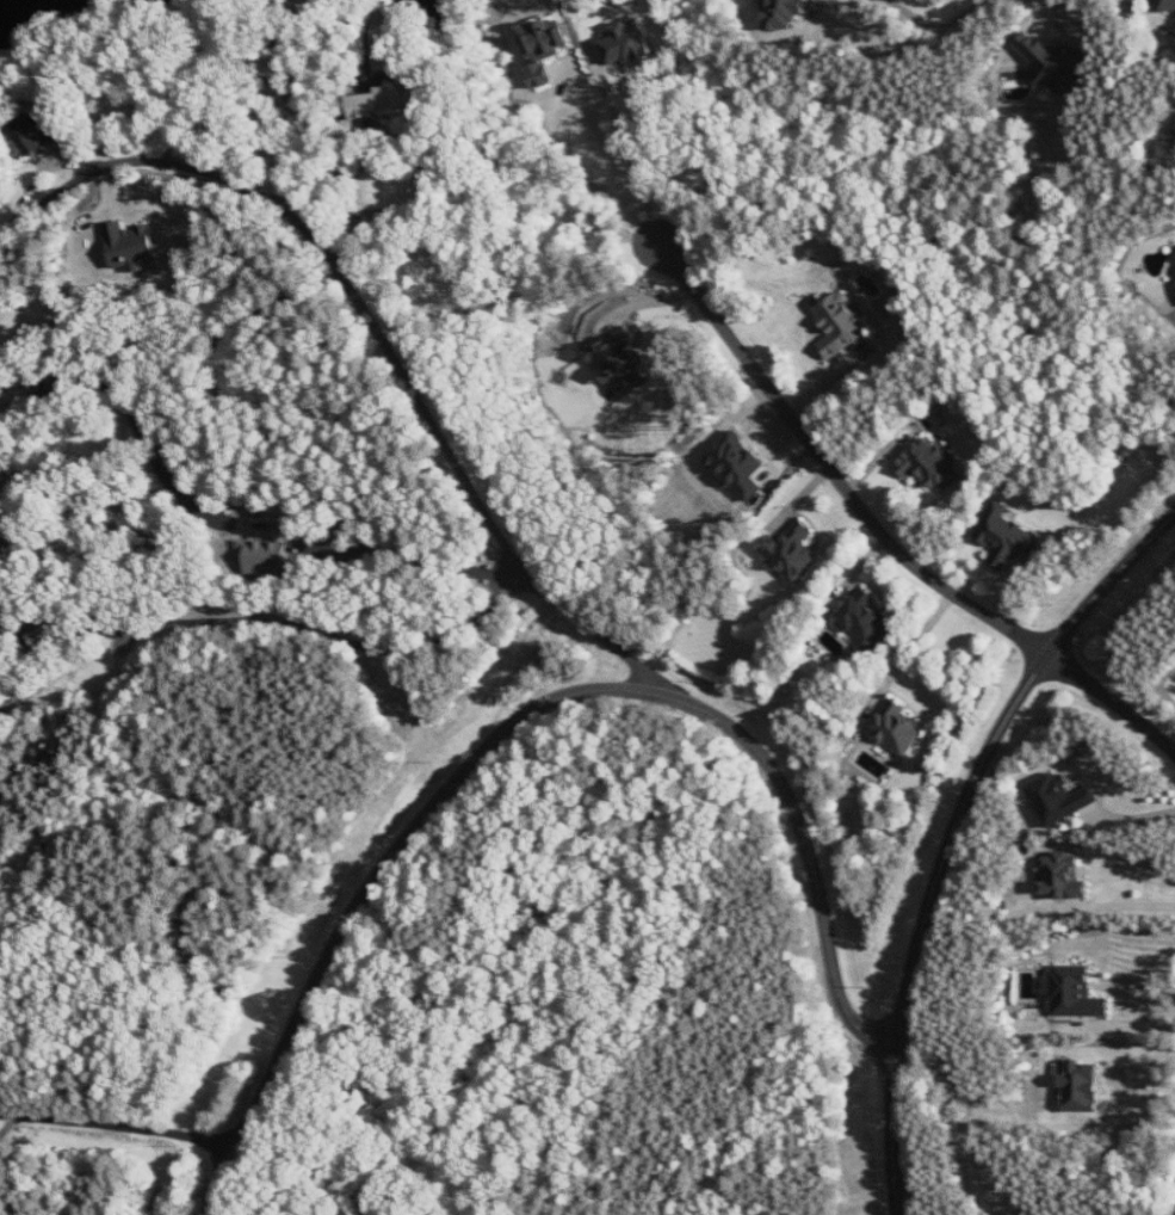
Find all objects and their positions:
building: (1168, 5)
building: (785, 14)
road: (939, 27)
building: (627, 44)
building: (1056, 61)
building: (389, 99)
building: (35, 129)
road: (412, 140)
road: (632, 153)
road: (293, 155)
road: (612, 161)
building: (132, 246)
building: (841, 323)
road: (370, 332)
building: (619, 362)
building: (930, 464)
building: (737, 465)
road: (834, 468)
building: (1007, 536)
road: (401, 550)
building: (794, 551)
building: (265, 557)
building: (865, 621)
road: (254, 635)
road: (914, 650)
road: (1113, 698)
road: (522, 707)
building: (898, 729)
building: (1060, 798)
road: (951, 827)
building: (1064, 876)
road: (1123, 902)
building: (1075, 992)
road: (1125, 1026)
building: (1081, 1085)
road: (120, 1123)

